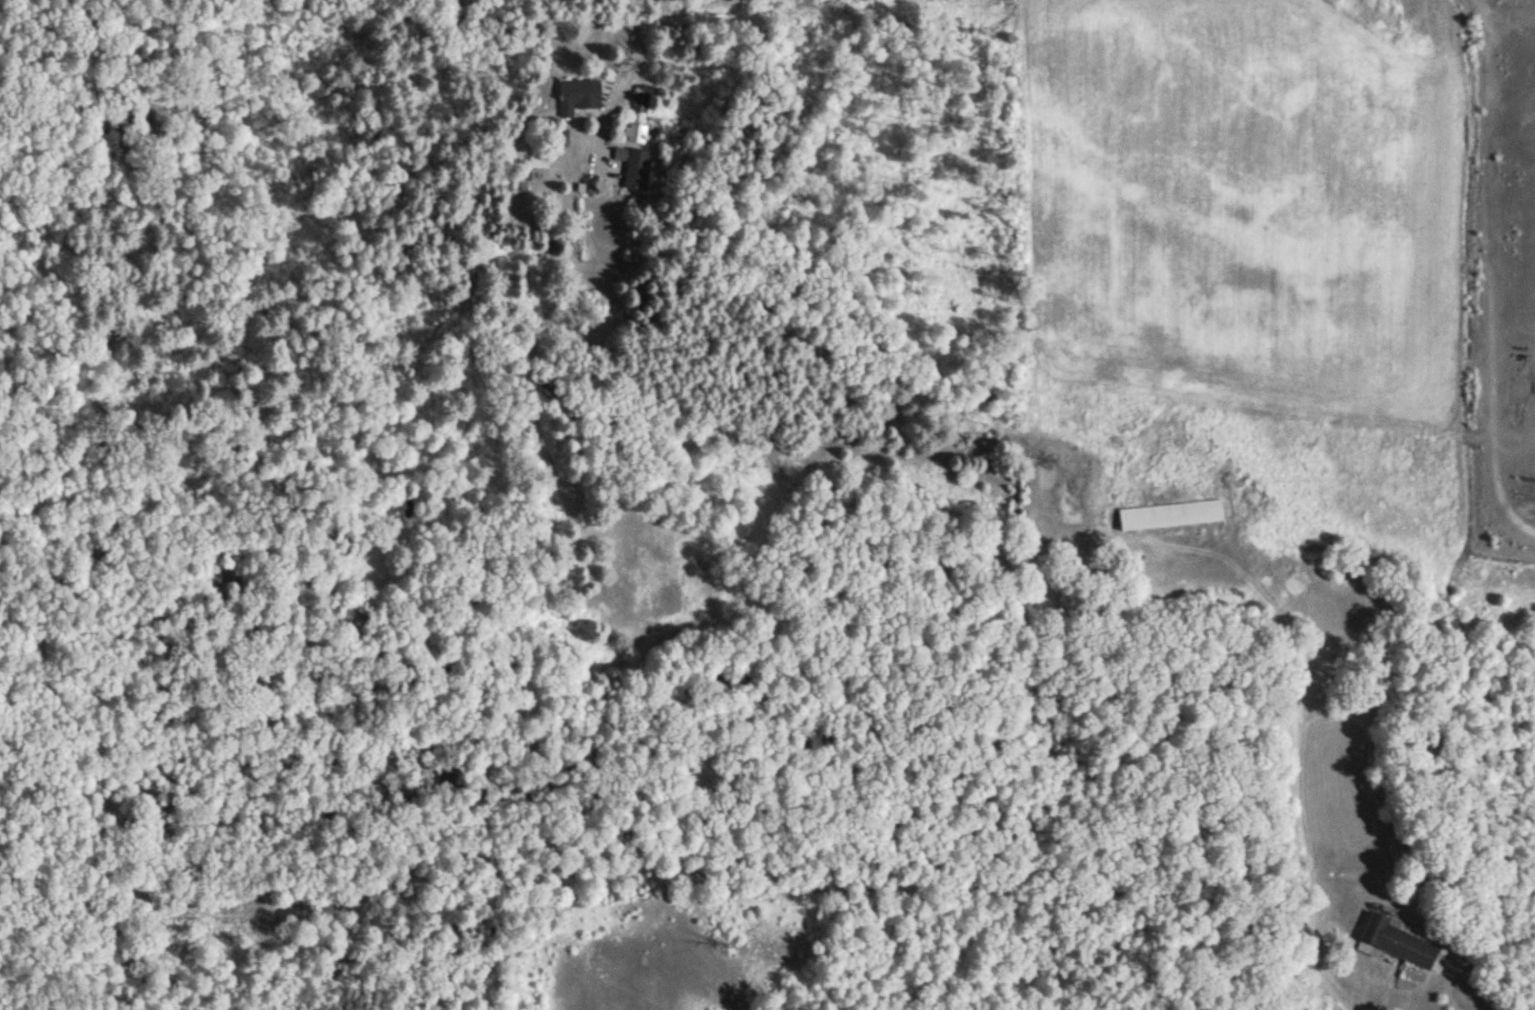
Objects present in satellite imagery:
building: (581, 96)
building: (644, 102)
building: (636, 132)
building: (637, 167)
building: (1173, 515)
road: (1305, 782)
building: (1400, 942)

